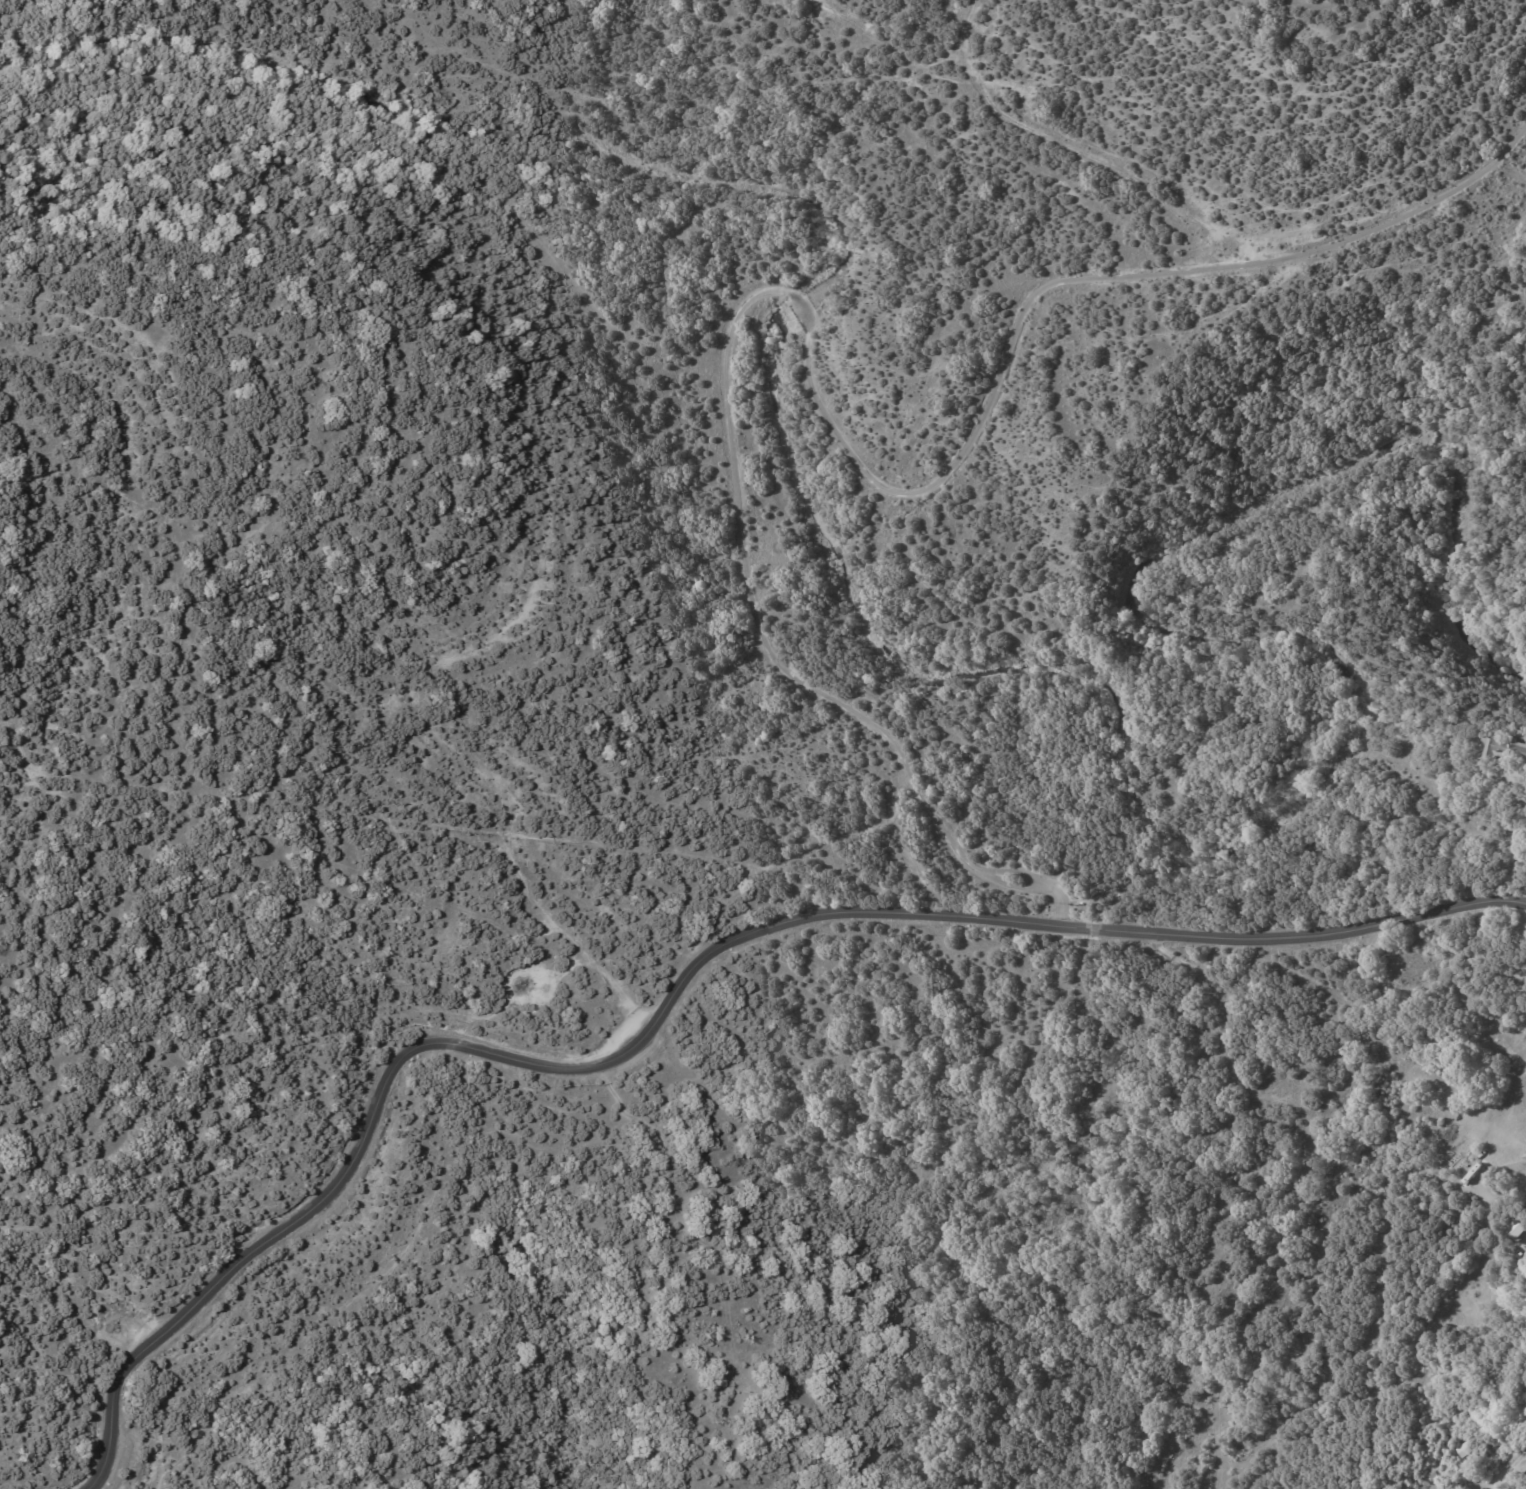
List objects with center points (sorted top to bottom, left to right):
road: (809, 391)
building: (1506, 751)
road: (1514, 850)
road: (679, 986)
building: (1300, 1076)
building: (1085, 1138)
road: (1506, 1190)
building: (1514, 1229)
building: (1462, 1449)
road: (1506, 1467)
building: (1428, 1472)
road: (1486, 1488)

